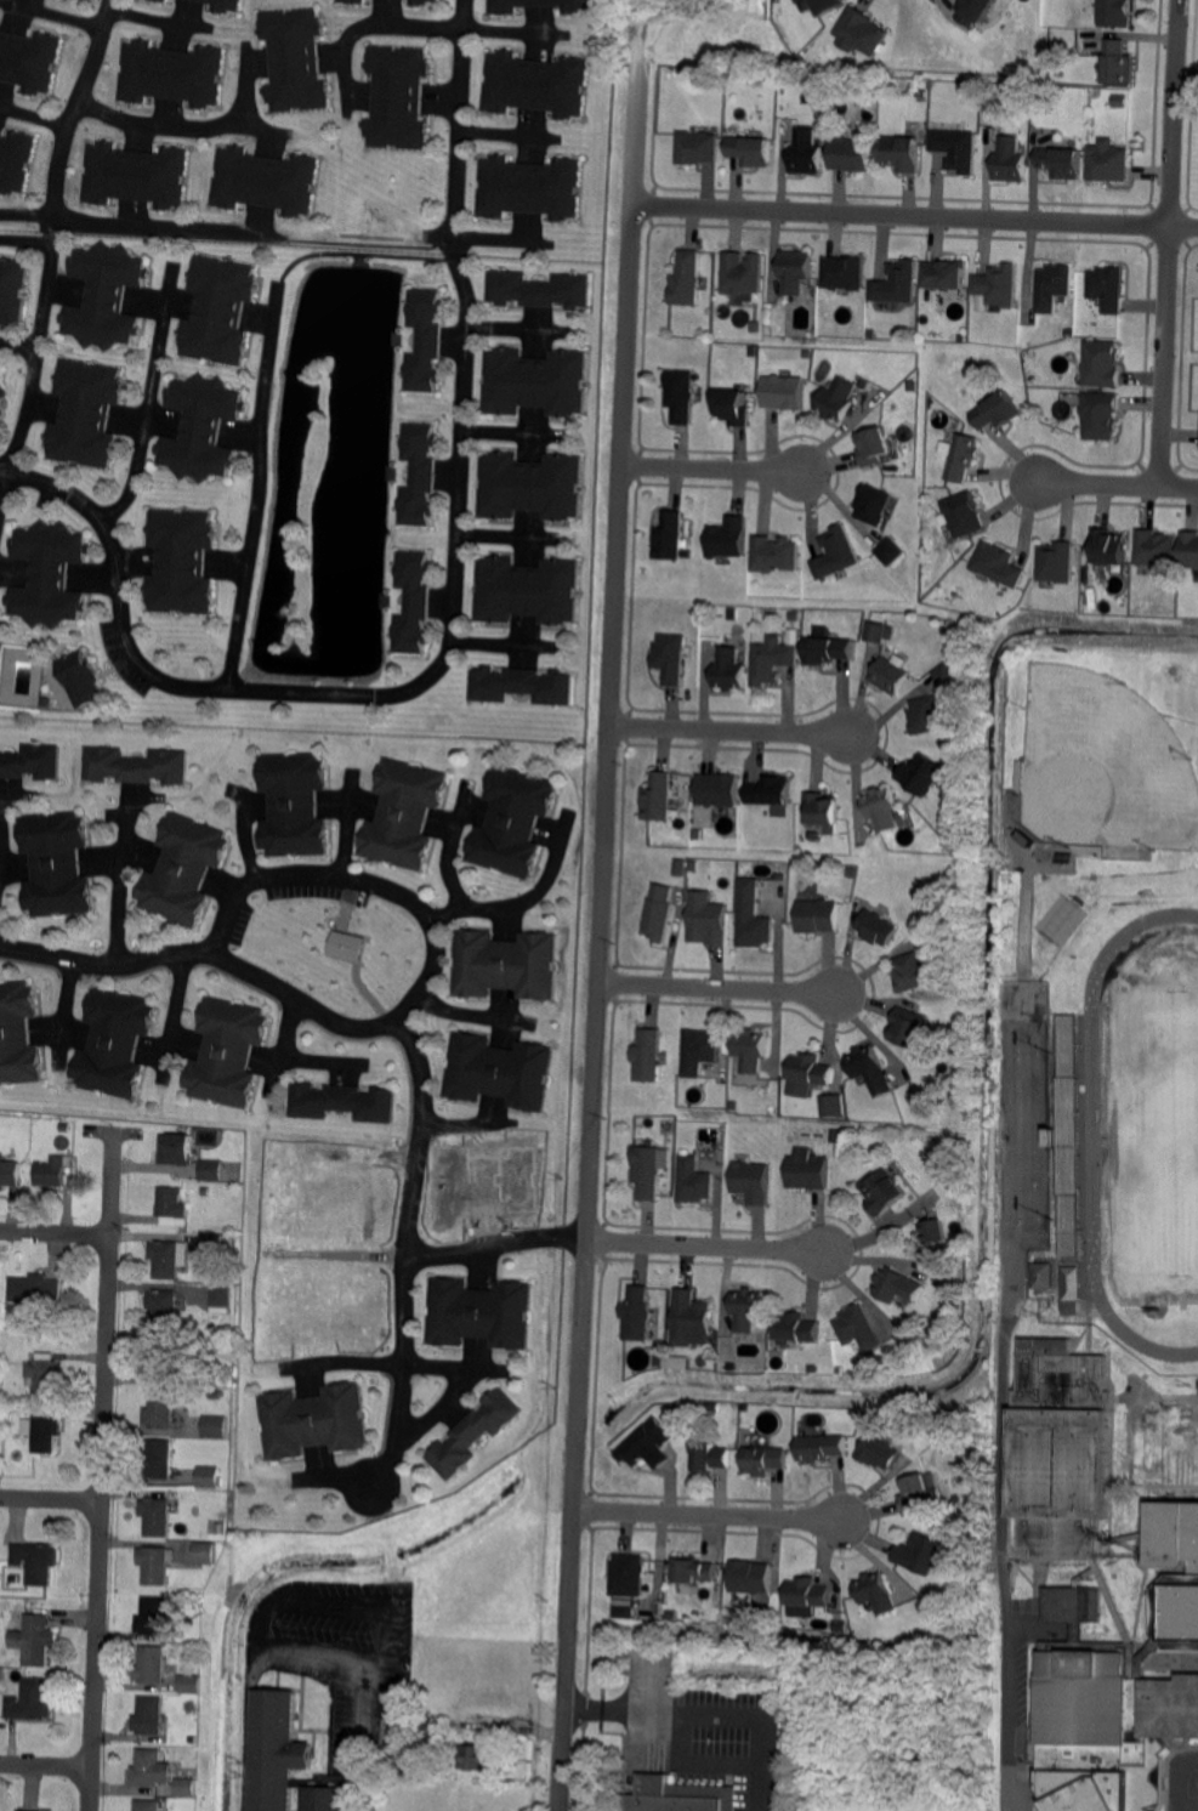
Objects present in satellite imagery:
building: (163, 0)
building: (351, 1)
building: (420, 1)
building: (799, 1)
building: (223, 5)
building: (534, 5)
building: (824, 6)
building: (975, 11)
building: (1117, 13)
road: (368, 19)
road: (506, 29)
building: (861, 33)
building: (29, 61)
building: (294, 61)
building: (1118, 63)
building: (171, 74)
building: (789, 79)
building: (534, 84)
building: (851, 86)
building: (970, 92)
building: (920, 93)
building: (397, 97)
building: (1120, 101)
road: (74, 107)
road: (34, 113)
road: (458, 121)
road: (197, 123)
road: (499, 132)
building: (695, 148)
building: (749, 151)
building: (956, 151)
building: (805, 153)
building: (899, 153)
building: (851, 154)
building: (1010, 160)
building: (16, 161)
building: (1108, 161)
building: (1061, 163)
building: (136, 175)
building: (265, 181)
building: (528, 188)
road: (914, 214)
road: (27, 218)
road: (166, 228)
road: (1169, 235)
building: (795, 271)
building: (844, 273)
building: (742, 276)
building: (943, 276)
building: (686, 280)
building: (896, 284)
building: (998, 286)
building: (1052, 288)
building: (536, 289)
building: (1108, 289)
building: (12, 290)
building: (104, 296)
building: (218, 312)
road: (510, 324)
building: (754, 325)
building: (1068, 333)
building: (963, 339)
building: (424, 340)
road: (16, 344)
building: (751, 350)
building: (806, 354)
road: (30, 363)
building: (1101, 364)
building: (0, 371)
building: (534, 382)
building: (864, 382)
building: (783, 392)
building: (681, 396)
building: (2, 397)
building: (836, 399)
road: (144, 401)
building: (732, 407)
building: (995, 411)
building: (85, 414)
building: (1101, 415)
building: (200, 428)
road: (503, 430)
building: (873, 447)
building: (963, 458)
road: (710, 467)
road: (1115, 473)
building: (418, 475)
road: (256, 487)
building: (529, 487)
building: (873, 505)
building: (964, 515)
road: (499, 533)
building: (670, 538)
building: (728, 539)
building: (1109, 546)
building: (1156, 549)
building: (1190, 550)
building: (888, 552)
building: (688, 555)
building: (774, 555)
building: (835, 555)
building: (181, 562)
building: (1057, 563)
building: (998, 564)
building: (49, 574)
building: (526, 591)
building: (411, 603)
building: (733, 614)
building: (794, 615)
building: (875, 632)
road: (492, 641)
building: (828, 651)
building: (670, 658)
building: (771, 660)
building: (729, 670)
building: (890, 675)
building: (946, 675)
building: (80, 679)
building: (521, 686)
road: (350, 691)
building: (925, 715)
road: (729, 729)
building: (30, 762)
park: (1102, 763)
building: (134, 766)
building: (1020, 774)
building: (921, 776)
building: (719, 790)
building: (770, 791)
building: (658, 797)
building: (293, 805)
building: (881, 808)
building: (821, 811)
building: (403, 814)
building: (511, 822)
road: (350, 827)
road: (242, 836)
building: (844, 839)
building: (1026, 839)
road: (448, 848)
building: (1089, 848)
building: (55, 864)
building: (691, 865)
building: (182, 869)
building: (848, 872)
building: (779, 876)
parking lot: (318, 891)
road: (118, 893)
road: (528, 899)
road: (600, 906)
building: (657, 914)
building: (816, 916)
building: (706, 920)
parking lot: (240, 922)
building: (751, 926)
building: (875, 927)
road: (431, 936)
building: (347, 944)
building: (504, 965)
road: (107, 969)
building: (913, 972)
road: (715, 986)
road: (62, 1015)
road: (172, 1021)
building: (907, 1027)
building: (18, 1035)
building: (114, 1043)
building: (749, 1051)
building: (226, 1052)
building: (697, 1052)
building: (647, 1056)
building: (808, 1069)
building: (869, 1069)
building: (496, 1072)
building: (341, 1102)
building: (732, 1106)
building: (831, 1106)
building: (66, 1125)
building: (1064, 1128)
park: (1149, 1135)
building: (834, 1136)
building: (176, 1148)
building: (952, 1168)
building: (212, 1169)
building: (53, 1170)
building: (645, 1171)
building: (807, 1173)
building: (10, 1174)
building: (692, 1181)
building: (751, 1182)
building: (882, 1191)
building: (205, 1192)
building: (172, 1202)
road: (56, 1232)
building: (933, 1232)
road: (702, 1242)
building: (211, 1245)
road: (495, 1248)
road: (407, 1255)
building: (166, 1258)
building: (1043, 1273)
building: (1071, 1284)
building: (896, 1285)
building: (36, 1290)
building: (220, 1296)
building: (165, 1308)
building: (746, 1310)
building: (689, 1312)
building: (479, 1313)
building: (636, 1315)
building: (795, 1328)
building: (858, 1328)
building: (163, 1357)
building: (675, 1361)
building: (658, 1362)
building: (731, 1367)
building: (812, 1369)
building: (839, 1370)
building: (205, 1374)
building: (46, 1375)
building: (214, 1395)
road: (1168, 1395)
building: (10, 1406)
building: (161, 1408)
building: (734, 1408)
building: (312, 1421)
building: (44, 1427)
building: (214, 1427)
building: (473, 1434)
building: (953, 1444)
building: (647, 1446)
building: (822, 1448)
building: (1061, 1449)
building: (879, 1453)
building: (711, 1458)
building: (159, 1459)
building: (763, 1460)
road: (102, 1470)
building: (209, 1476)
building: (919, 1492)
building: (220, 1497)
road: (51, 1498)
building: (958, 1499)
road: (706, 1514)
building: (158, 1515)
building: (205, 1552)
building: (920, 1554)
building: (38, 1561)
building: (157, 1563)
building: (694, 1571)
building: (628, 1576)
building: (750, 1577)
building: (12, 1578)
building: (876, 1593)
building: (807, 1594)
road: (385, 1596)
building: (195, 1602)
road: (255, 1612)
building: (624, 1612)
building: (715, 1614)
building: (153, 1616)
building: (841, 1627)
building: (35, 1639)
building: (620, 1653)
road: (303, 1657)
building: (152, 1664)
building: (191, 1684)
building: (1119, 1686)
parking lot: (1020, 1692)
building: (33, 1701)
building: (397, 1708)
road: (663, 1709)
building: (151, 1715)
road: (1007, 1721)
building: (426, 1726)
road: (246, 1731)
road: (356, 1736)
building: (191, 1739)
building: (184, 1752)
building: (476, 1756)
building: (288, 1759)
road: (46, 1764)
building: (149, 1770)
parking lot: (1183, 1781)
road: (1183, 1781)
building: (183, 1784)
building: (680, 1796)
building: (148, 1805)
building: (27, 1810)

